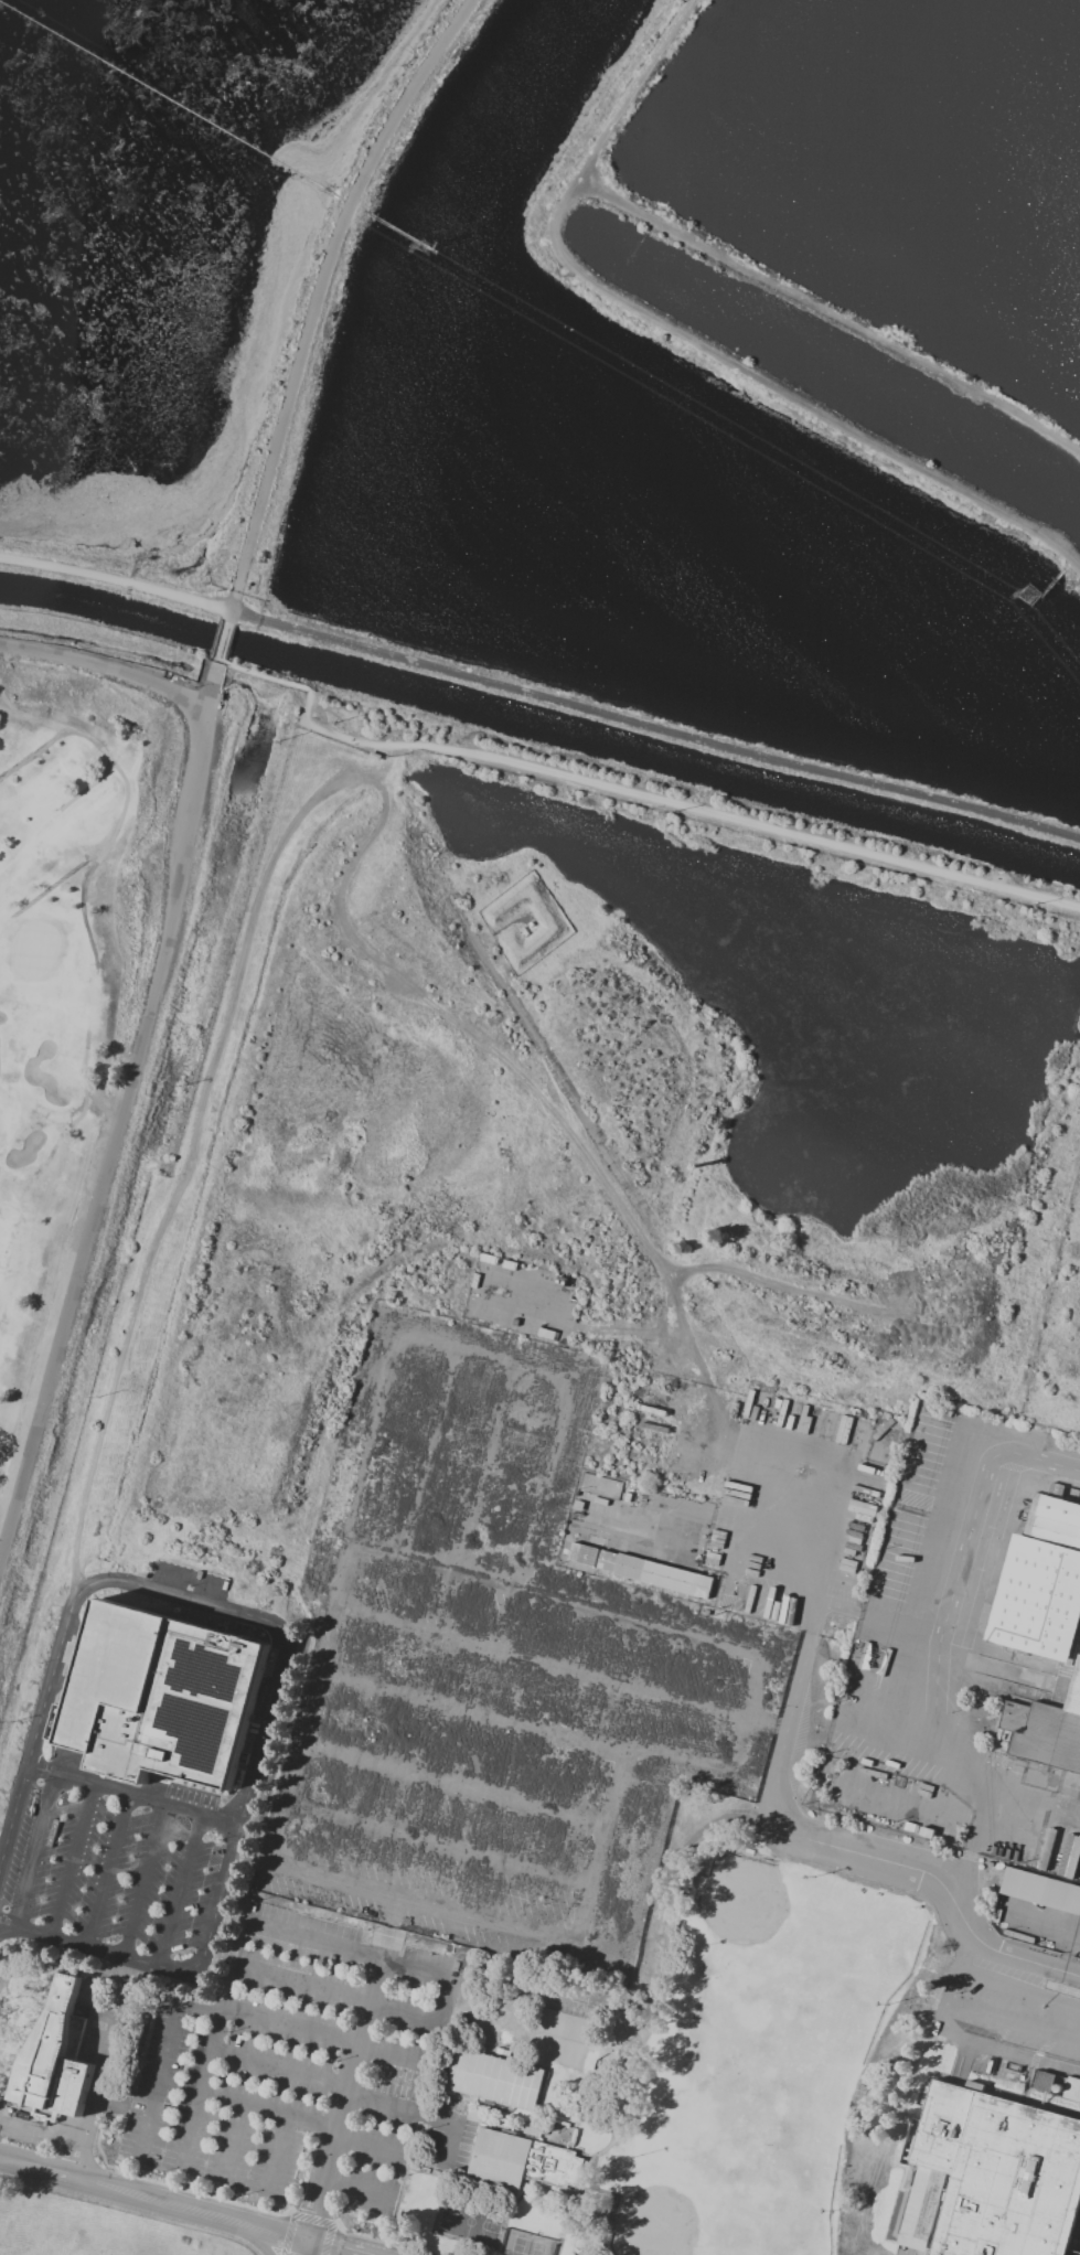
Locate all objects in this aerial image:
pier: (170, 100)
pier: (402, 233)
pier: (432, 246)
power tower: (428, 249)
road: (322, 291)
road: (827, 313)
road: (687, 345)
road: (115, 580)
power tower: (1030, 595)
road: (223, 634)
road: (105, 666)
road: (653, 728)
building: (373, 755)
road: (630, 790)
building: (530, 927)
building: (523, 932)
park: (68, 969)
road: (122, 1116)
road: (482, 1354)
road: (428, 1450)
road: (488, 1465)
road: (1040, 1466)
road: (543, 1484)
road: (790, 1515)
building: (585, 1558)
road: (740, 1563)
road: (895, 1568)
building: (659, 1578)
building: (1041, 1585)
road: (954, 1590)
road: (554, 1593)
road: (333, 1595)
road: (762, 1597)
road: (190, 1599)
building: (748, 1599)
building: (74, 1653)
building: (876, 1659)
road: (560, 1667)
building: (167, 1702)
road: (795, 1703)
road: (752, 1719)
road: (517, 1721)
road: (41, 1730)
road: (267, 1735)
building: (1045, 1735)
road: (948, 1744)
parking lot: (502, 1745)
road: (90, 1784)
road: (452, 1787)
road: (1048, 1809)
road: (196, 1814)
road: (971, 1839)
road: (439, 1846)
road: (603, 1847)
road: (35, 1851)
road: (649, 1855)
building: (1069, 1856)
road: (71, 1861)
road: (107, 1871)
parking lot: (113, 1872)
road: (145, 1881)
road: (942, 1882)
road: (180, 1892)
building: (1040, 1894)
road: (446, 1910)
road: (216, 1916)
road: (79, 1946)
road: (349, 1949)
road: (951, 1981)
road: (1018, 1988)
road: (339, 1994)
road: (199, 2011)
road: (440, 2019)
road: (1013, 2022)
road: (325, 2037)
road: (1008, 2053)
building: (57, 2062)
road: (962, 2063)
road: (104, 2070)
road: (279, 2070)
parking lot: (301, 2072)
road: (158, 2082)
building: (496, 2082)
road: (203, 2087)
building: (1071, 2088)
road: (344, 2101)
road: (399, 2109)
road: (269, 2112)
road: (943, 2125)
road: (233, 2141)
road: (448, 2142)
road: (389, 2147)
road: (276, 2152)
road: (15, 2163)
building: (522, 2163)
road: (47, 2172)
building: (1004, 2172)
road: (355, 2193)
road: (186, 2211)
road: (918, 2211)
park: (471, 2224)
road: (259, 2243)
road: (307, 2248)
road: (332, 2248)
park: (527, 2248)

